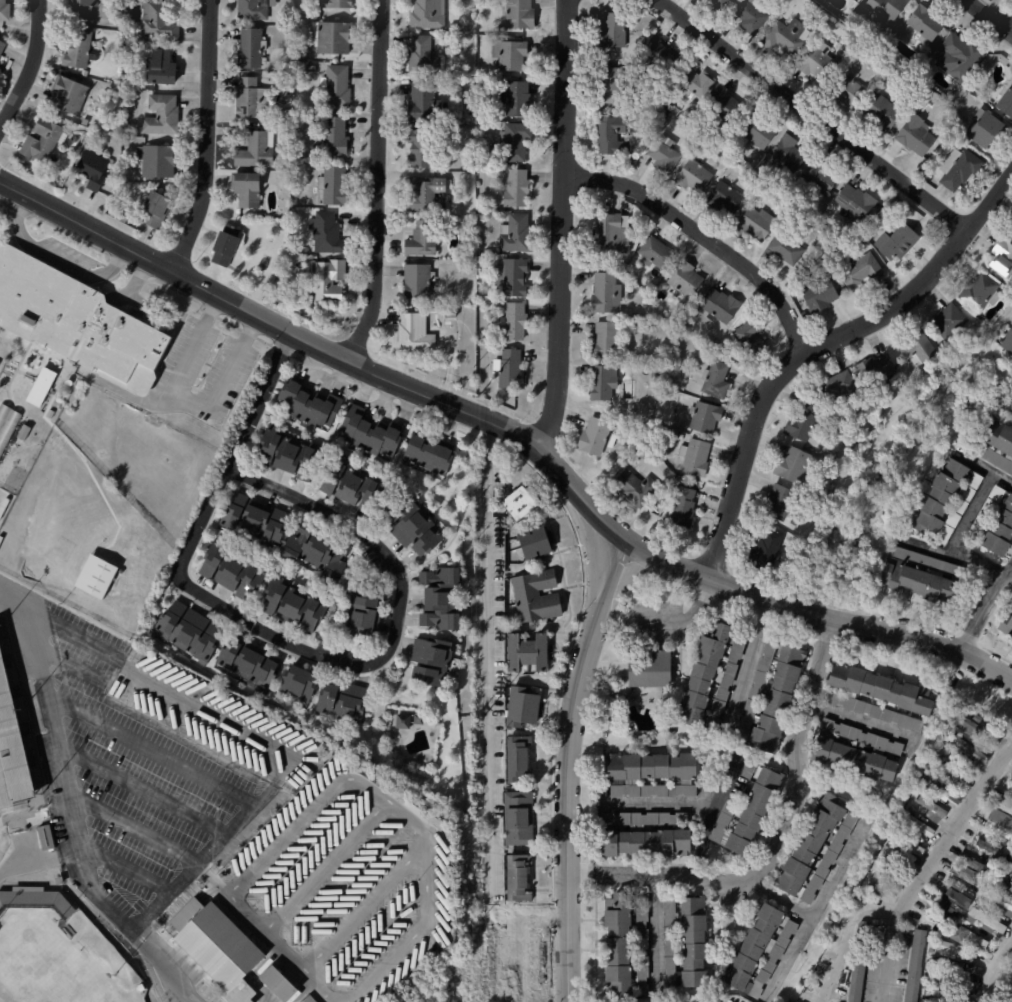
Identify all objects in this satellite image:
building: (851, 0)
building: (339, 4)
building: (719, 5)
building: (494, 7)
building: (293, 8)
building: (85, 9)
building: (257, 9)
building: (885, 9)
building: (6, 11)
road: (994, 12)
building: (430, 14)
building: (522, 14)
building: (749, 16)
building: (161, 23)
building: (923, 25)
building: (456, 27)
building: (612, 31)
building: (785, 36)
building: (335, 37)
building: (447, 41)
building: (3, 48)
building: (254, 49)
building: (80, 50)
building: (514, 56)
building: (425, 57)
building: (604, 57)
building: (956, 57)
building: (664, 59)
building: (815, 62)
road: (29, 63)
building: (890, 64)
building: (0, 67)
building: (164, 69)
building: (312, 69)
building: (86, 73)
building: (614, 77)
building: (697, 84)
building: (339, 87)
building: (847, 90)
building: (607, 92)
building: (70, 95)
building: (671, 96)
building: (254, 100)
building: (520, 100)
building: (425, 104)
building: (1005, 104)
building: (721, 107)
building: (674, 111)
road: (809, 112)
building: (287, 113)
building: (883, 114)
building: (164, 116)
building: (87, 122)
building: (283, 129)
building: (985, 129)
building: (756, 132)
building: (915, 135)
building: (608, 136)
road: (207, 138)
building: (338, 138)
building: (46, 141)
building: (519, 142)
building: (423, 148)
building: (708, 150)
building: (259, 151)
building: (662, 155)
building: (784, 156)
building: (160, 160)
building: (741, 160)
building: (471, 165)
building: (25, 166)
building: (958, 169)
building: (95, 170)
building: (692, 178)
building: (821, 178)
building: (55, 179)
road: (377, 181)
building: (334, 185)
building: (927, 186)
building: (519, 189)
building: (250, 190)
building: (426, 193)
building: (854, 199)
building: (723, 200)
building: (616, 207)
building: (622, 208)
building: (158, 209)
building: (125, 219)
road: (564, 220)
building: (290, 224)
building: (752, 226)
building: (1010, 227)
building: (326, 232)
building: (518, 234)
building: (609, 236)
building: (423, 238)
road: (704, 238)
building: (896, 242)
building: (230, 246)
building: (782, 248)
building: (653, 254)
road: (54, 256)
building: (483, 258)
building: (1001, 258)
building: (292, 265)
building: (623, 265)
building: (807, 265)
building: (301, 266)
building: (860, 272)
building: (282, 277)
building: (516, 278)
road: (136, 280)
building: (655, 280)
building: (329, 281)
building: (418, 281)
building: (683, 281)
building: (979, 293)
building: (819, 294)
building: (603, 295)
building: (719, 307)
building: (452, 312)
building: (680, 318)
building: (947, 321)
building: (76, 323)
building: (517, 323)
building: (415, 332)
building: (605, 340)
building: (748, 341)
building: (1007, 341)
building: (715, 343)
road: (816, 347)
building: (718, 349)
building: (915, 349)
parking lot: (209, 354)
parking lot: (2, 364)
building: (876, 371)
building: (512, 372)
power tower: (476, 374)
building: (652, 374)
building: (713, 381)
building: (603, 383)
building: (44, 387)
building: (835, 388)
road: (124, 393)
road: (261, 399)
road: (192, 401)
building: (309, 406)
building: (52, 409)
building: (704, 418)
building: (801, 421)
building: (847, 422)
building: (8, 425)
road: (518, 427)
building: (26, 432)
building: (371, 435)
building: (594, 437)
building: (680, 437)
building: (995, 441)
building: (292, 454)
building: (431, 454)
building: (694, 459)
building: (794, 465)
road: (986, 466)
building: (676, 481)
building: (358, 485)
building: (633, 489)
building: (117, 492)
building: (946, 499)
building: (522, 502)
building: (111, 503)
building: (777, 503)
building: (682, 509)
road: (971, 511)
building: (985, 513)
building: (257, 522)
building: (419, 526)
building: (999, 531)
building: (537, 544)
building: (764, 552)
building: (320, 554)
road: (956, 555)
building: (236, 571)
building: (96, 576)
building: (918, 577)
road: (1, 583)
building: (538, 596)
building: (446, 598)
building: (296, 604)
road: (987, 611)
building: (367, 612)
road: (235, 616)
road: (683, 617)
building: (1006, 624)
building: (191, 632)
building: (529, 653)
building: (435, 661)
building: (252, 664)
building: (649, 667)
road: (743, 673)
building: (707, 679)
building: (299, 683)
building: (769, 697)
building: (877, 697)
road: (487, 702)
building: (344, 703)
building: (527, 708)
building: (418, 717)
building: (403, 719)
road: (858, 720)
road: (218, 723)
building: (969, 727)
building: (669, 731)
building: (13, 740)
building: (965, 749)
road: (797, 753)
building: (859, 753)
road: (153, 756)
building: (522, 759)
parking lot: (145, 761)
stadium: (13, 765)
road: (566, 768)
building: (951, 768)
building: (652, 775)
building: (919, 788)
building: (938, 788)
building: (1011, 789)
road: (145, 796)
road: (656, 802)
building: (1003, 804)
road: (397, 808)
building: (744, 808)
road: (75, 809)
building: (930, 809)
building: (522, 819)
building: (996, 821)
building: (916, 827)
building: (644, 836)
road: (702, 837)
building: (49, 838)
building: (906, 846)
building: (813, 847)
building: (990, 847)
road: (172, 854)
building: (899, 859)
building: (1008, 861)
building: (974, 864)
road: (323, 866)
road: (927, 868)
road: (611, 869)
road: (129, 874)
road: (703, 874)
building: (523, 879)
building: (968, 880)
building: (62, 881)
building: (878, 881)
building: (1006, 883)
building: (959, 887)
building: (958, 897)
road: (781, 898)
building: (998, 901)
building: (38, 902)
building: (886, 902)
road: (818, 906)
road: (363, 907)
building: (947, 909)
building: (985, 922)
road: (655, 932)
road: (264, 935)
building: (968, 937)
building: (686, 941)
building: (218, 946)
building: (622, 946)
building: (759, 948)
building: (948, 948)
stadium: (61, 954)
park: (52, 962)
building: (857, 964)
building: (948, 965)
building: (914, 966)
road: (996, 971)
building: (1011, 972)
building: (1010, 978)
building: (941, 980)
building: (278, 983)
building: (969, 983)
building: (143, 988)
building: (945, 995)
building: (308, 999)

